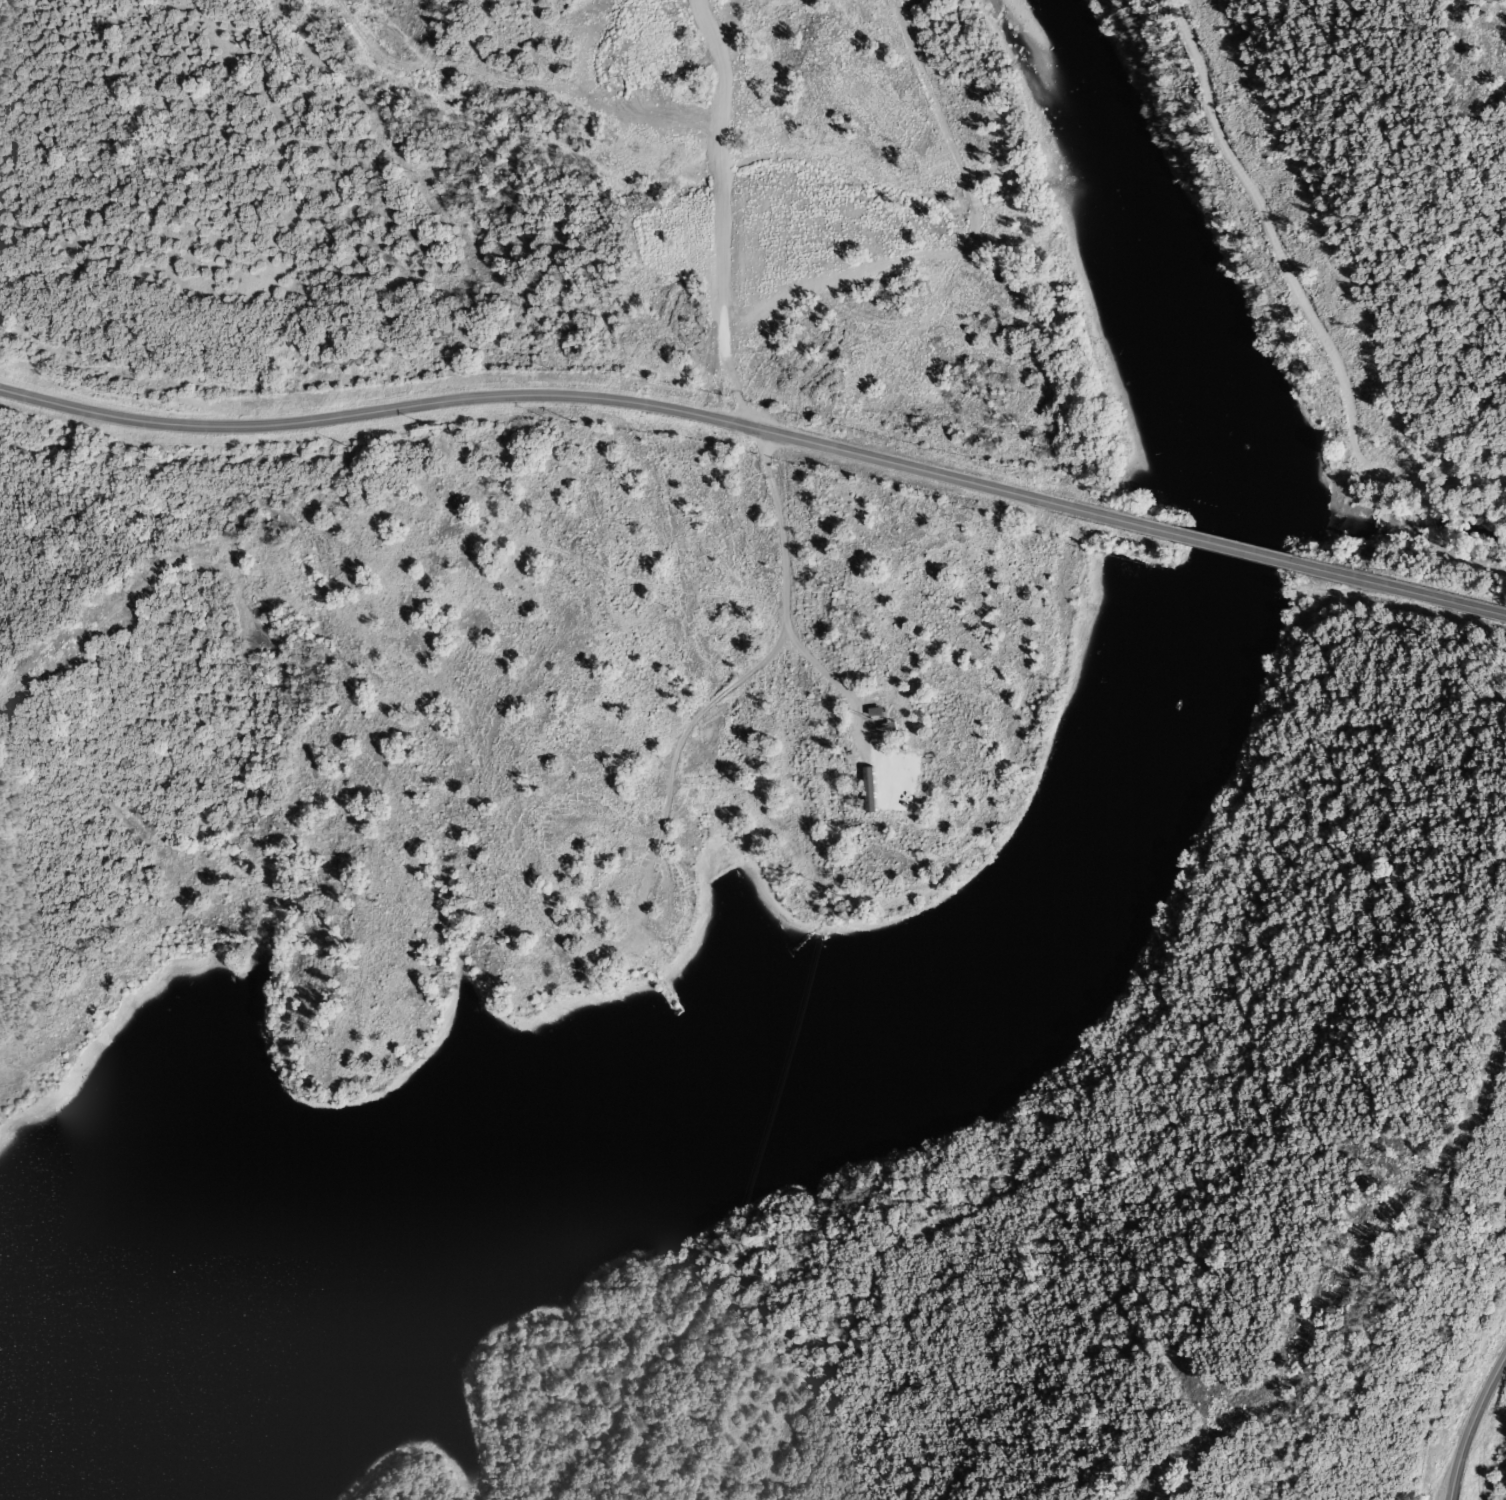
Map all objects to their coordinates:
road: (521, 393)
road: (779, 519)
road: (1198, 537)
road: (1433, 597)
building: (873, 708)
road: (853, 740)
building: (889, 774)
road: (661, 826)
building: (646, 916)
building: (549, 941)
building: (615, 948)
road: (1469, 1422)

